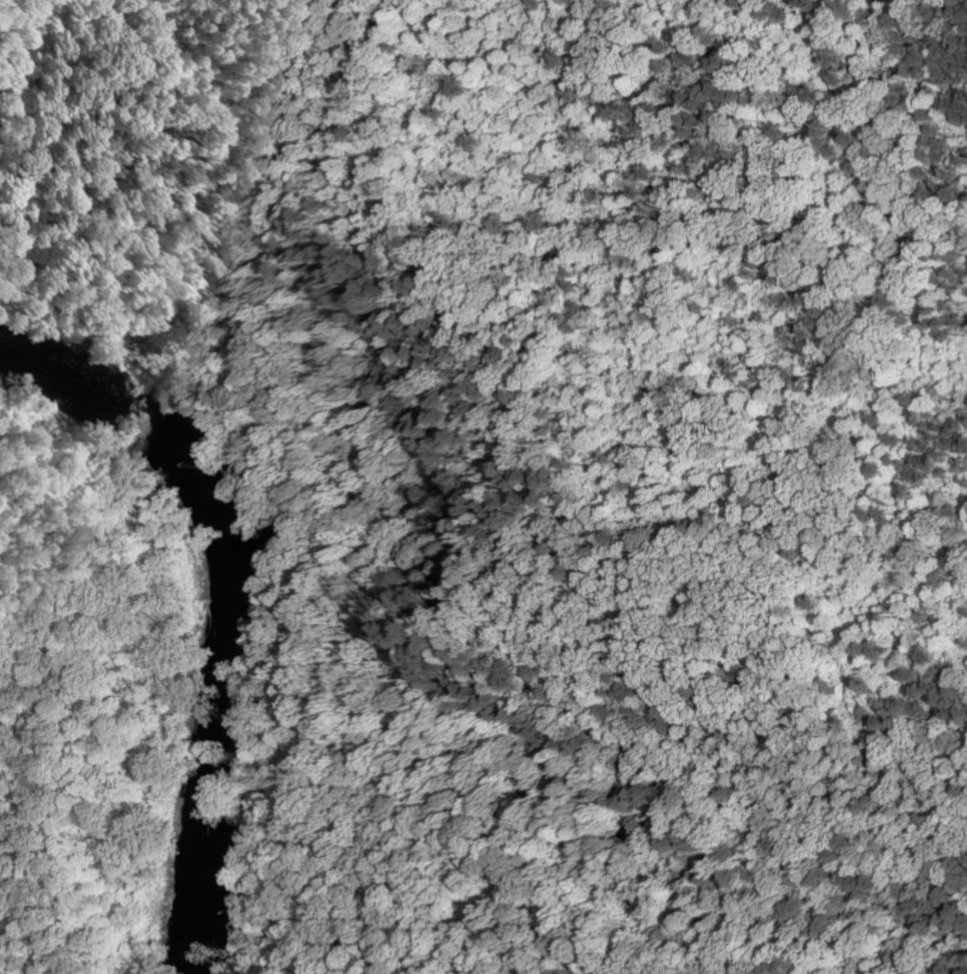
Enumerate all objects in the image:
river: (222, 612)

